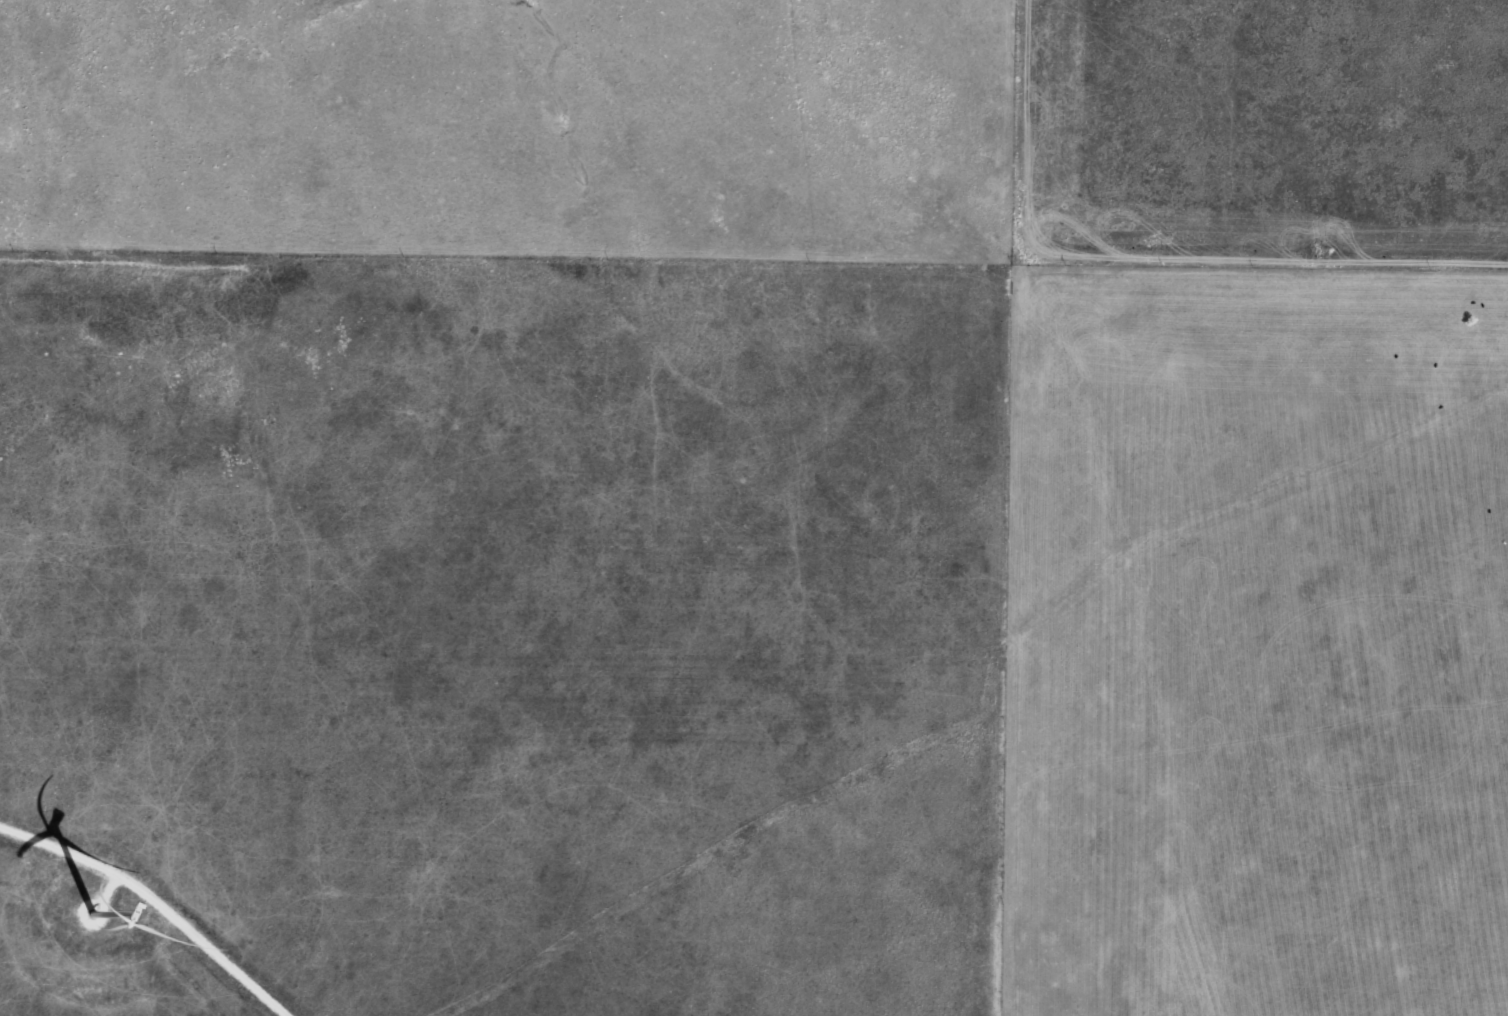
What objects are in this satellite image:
wind turbine: (91, 916)

